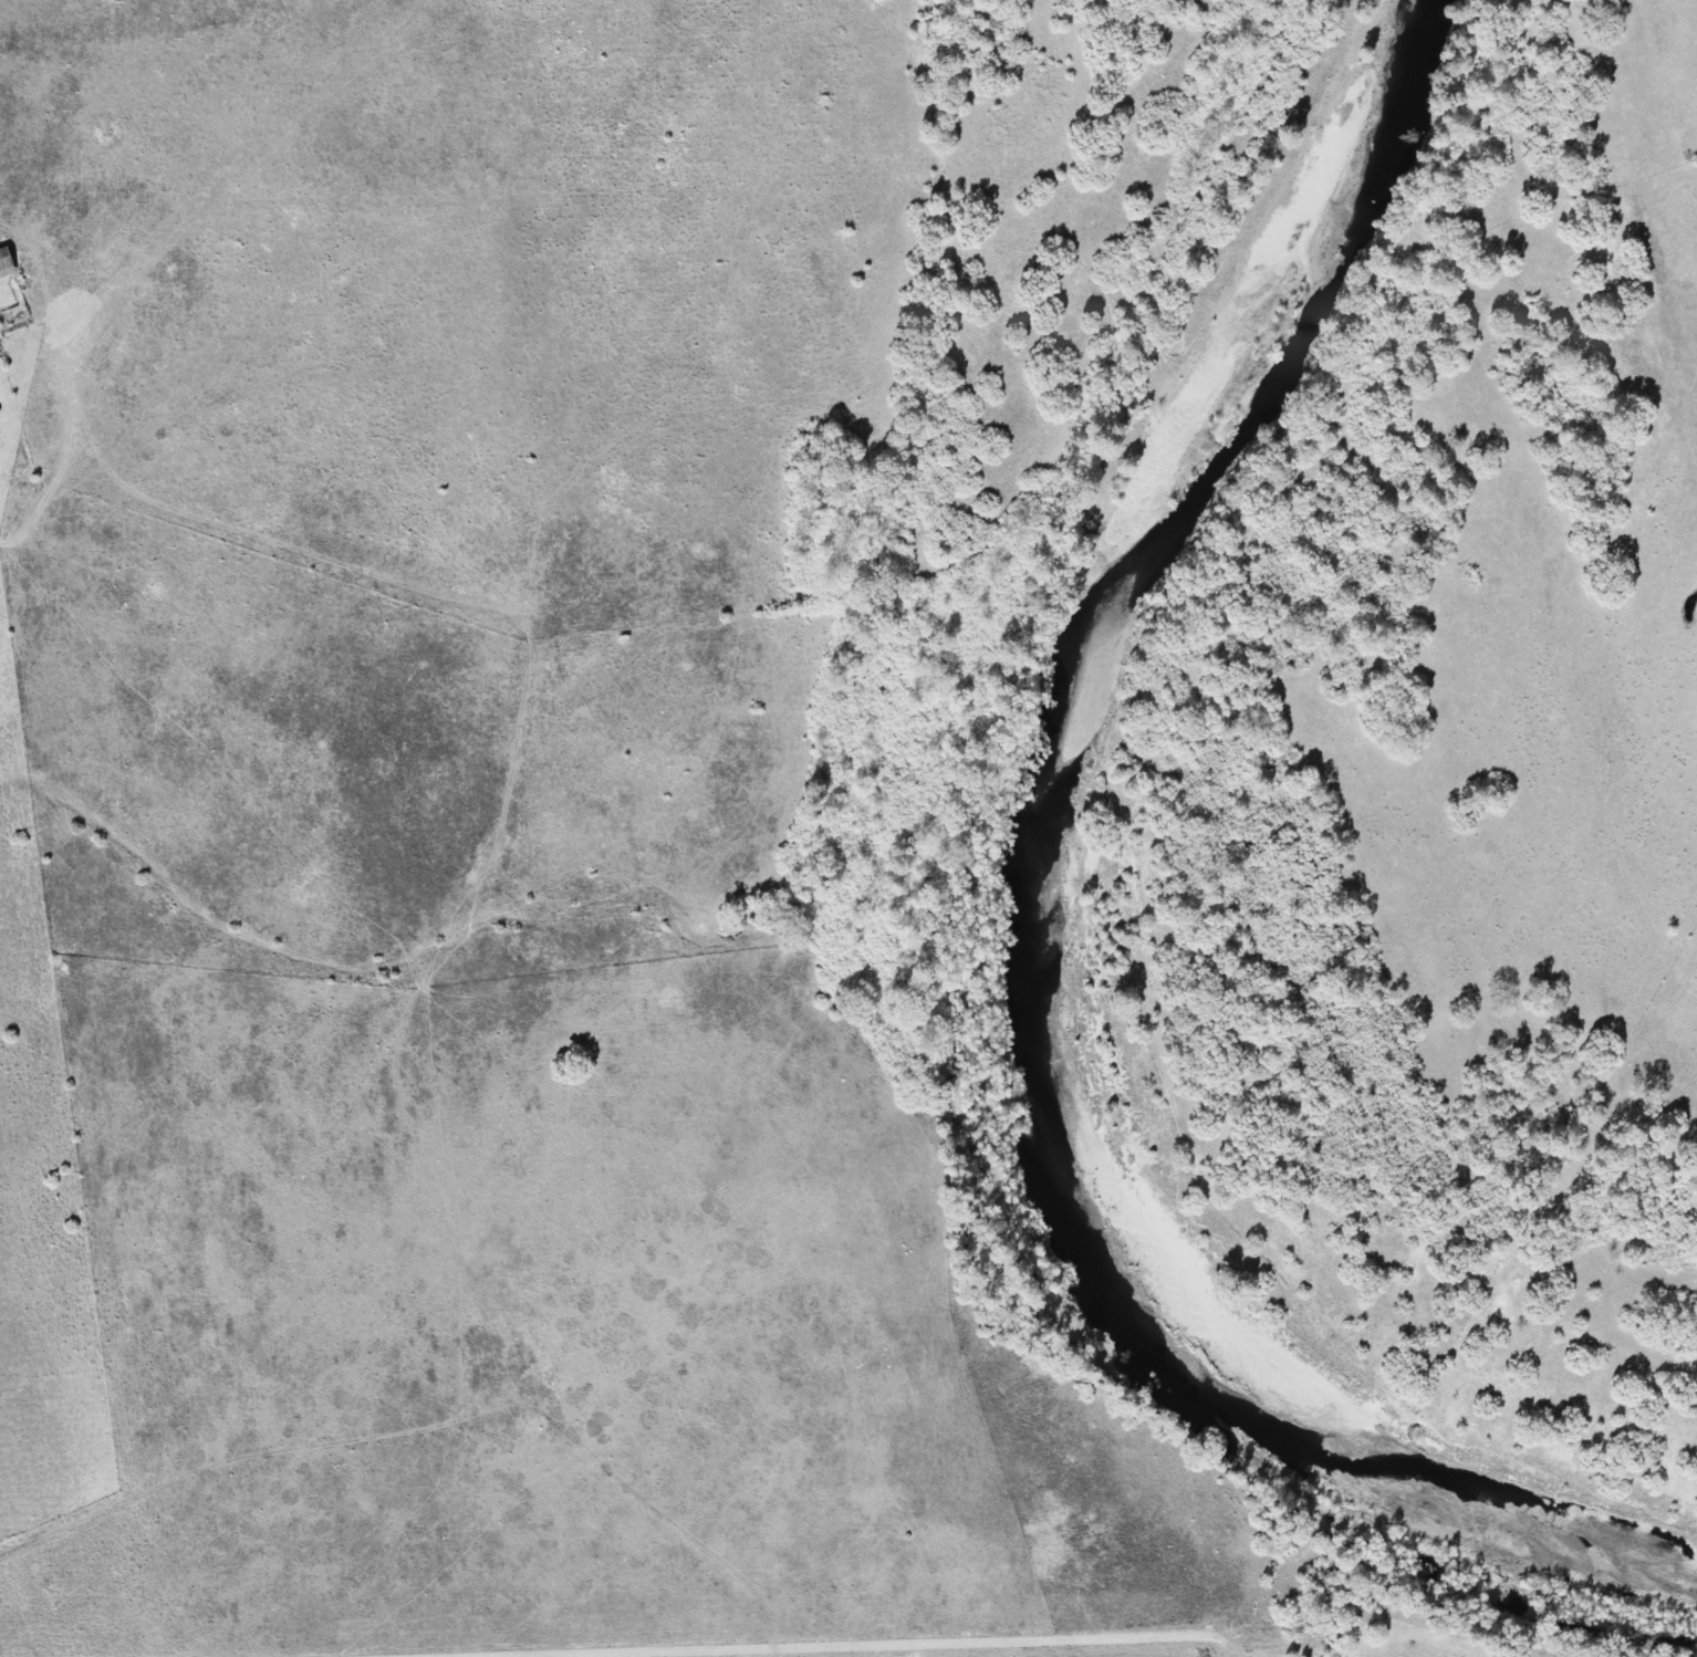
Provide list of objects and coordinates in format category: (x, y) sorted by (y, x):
building: (8, 259)
river: (1009, 955)

